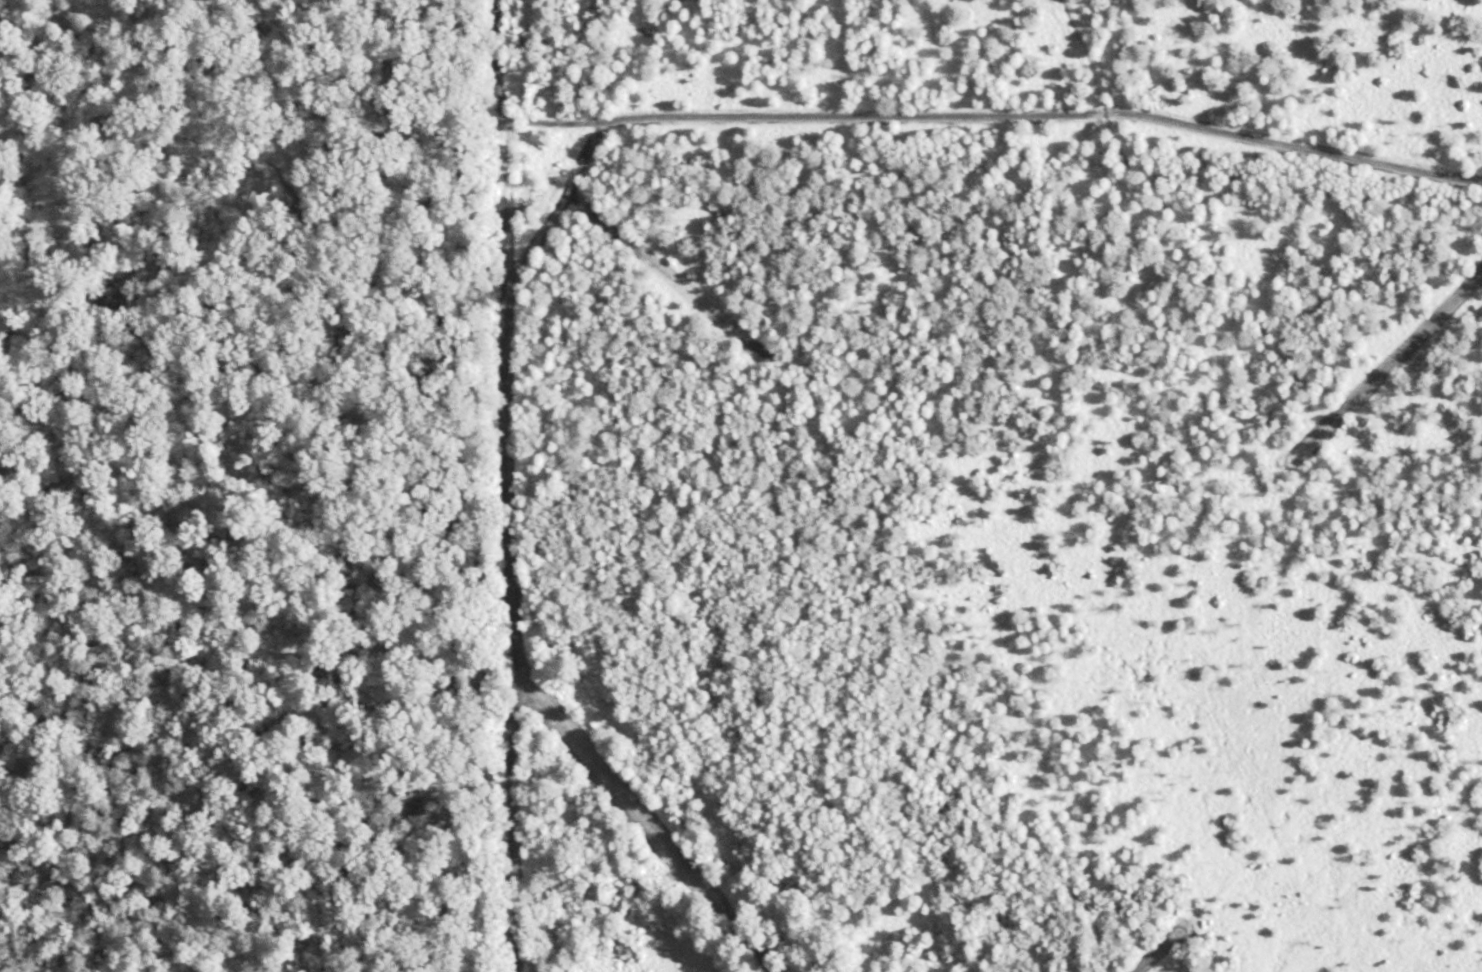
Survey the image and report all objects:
road: (581, 165)
road: (512, 815)
road: (1161, 938)

